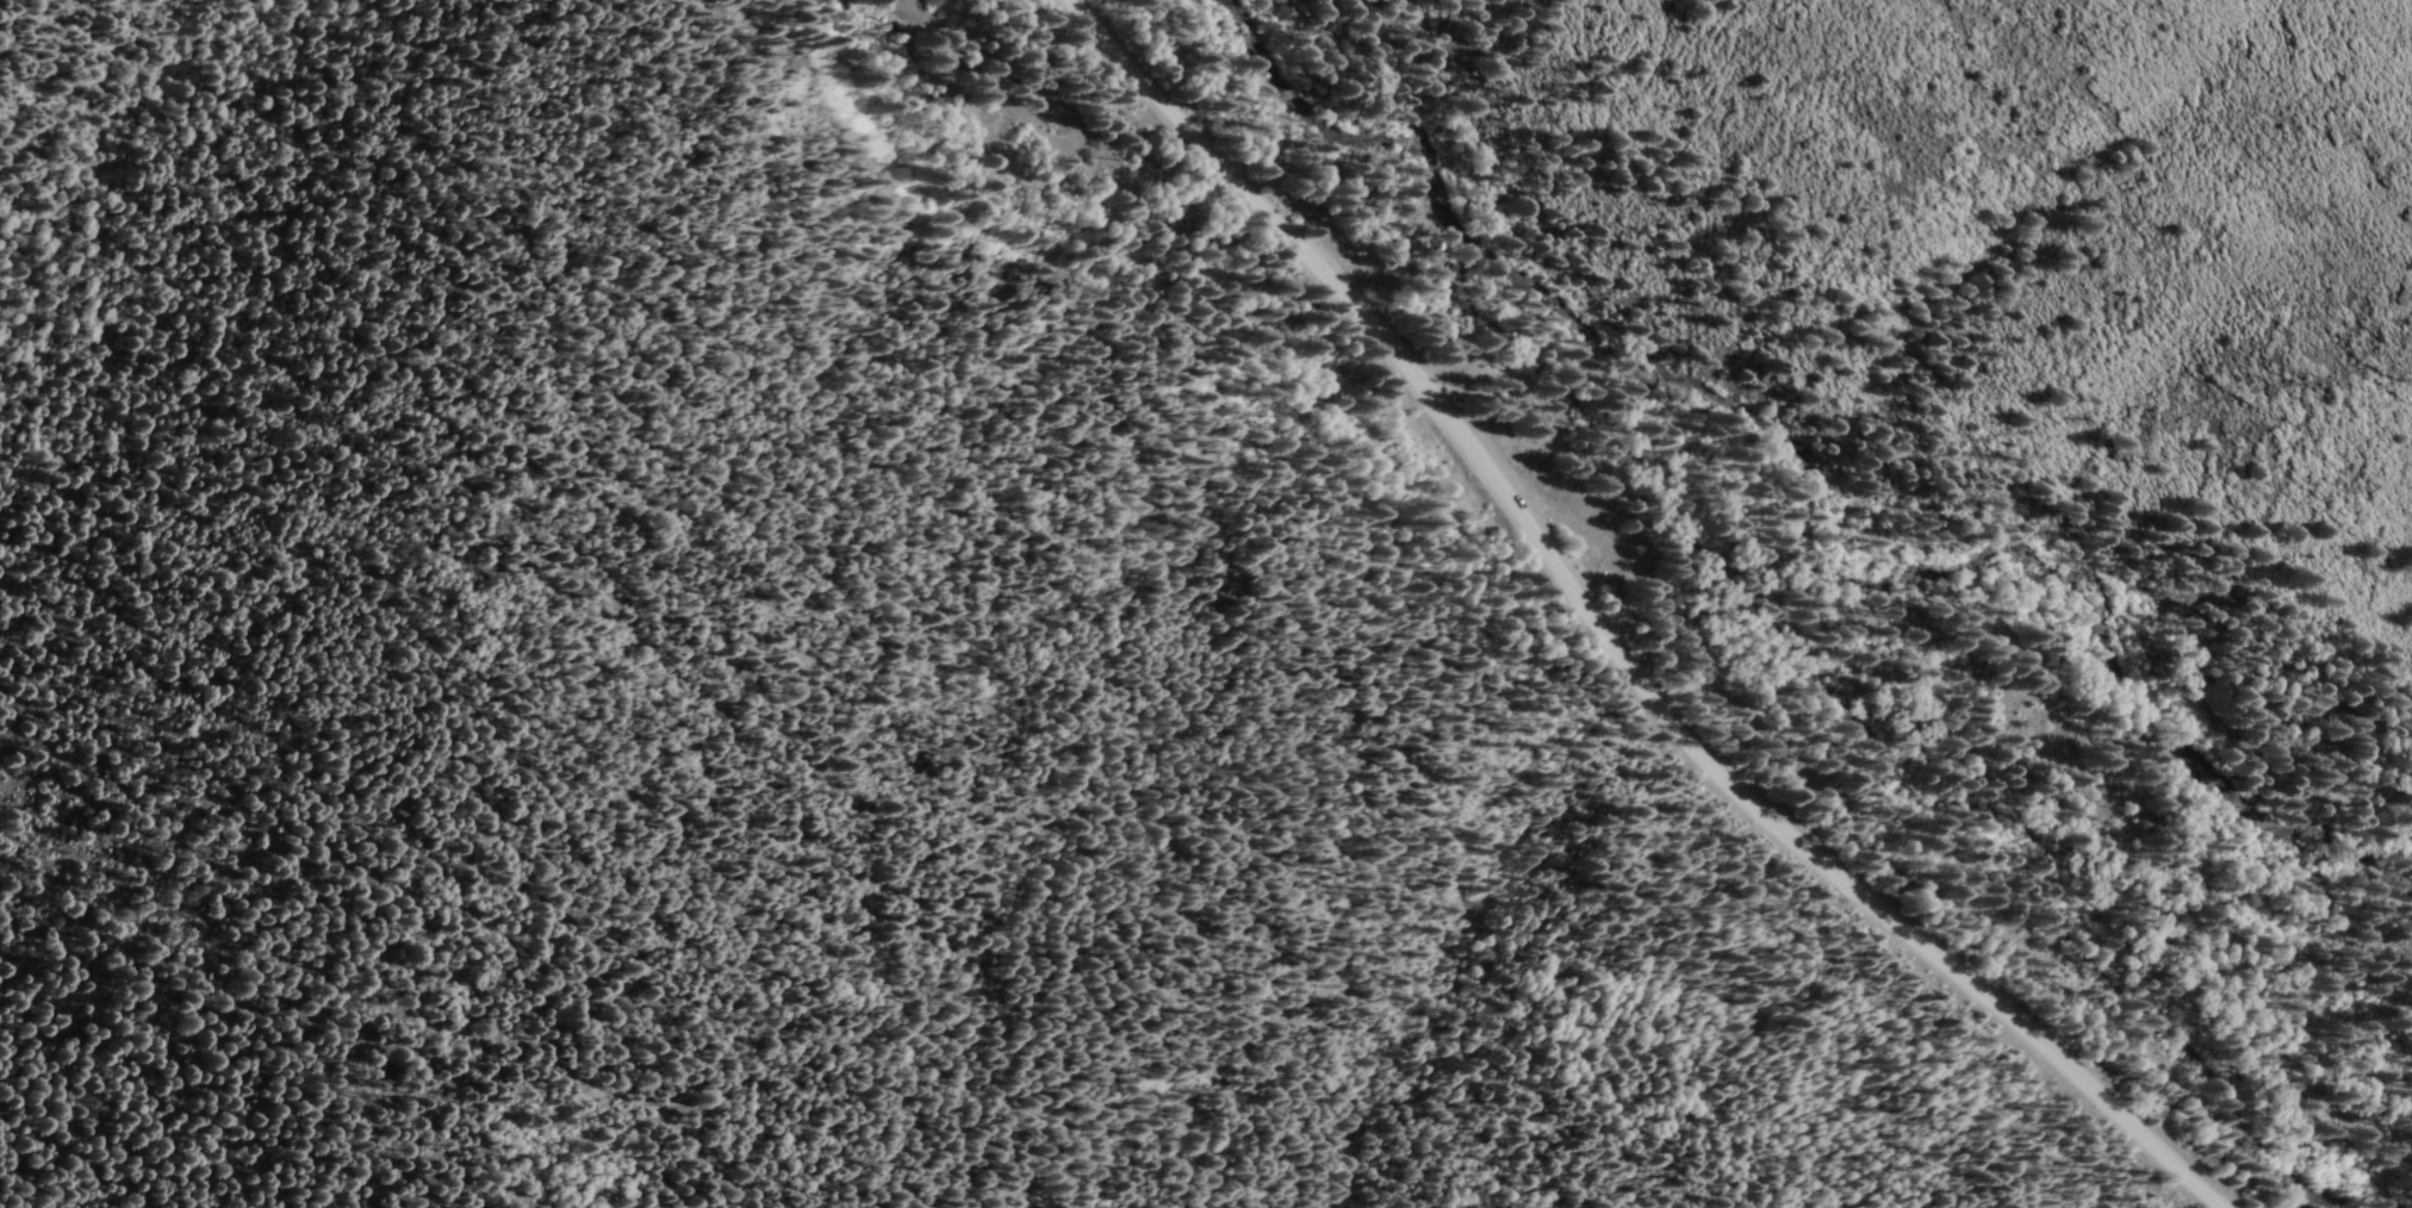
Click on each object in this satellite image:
river: (1779, 493)
road: (1611, 639)

